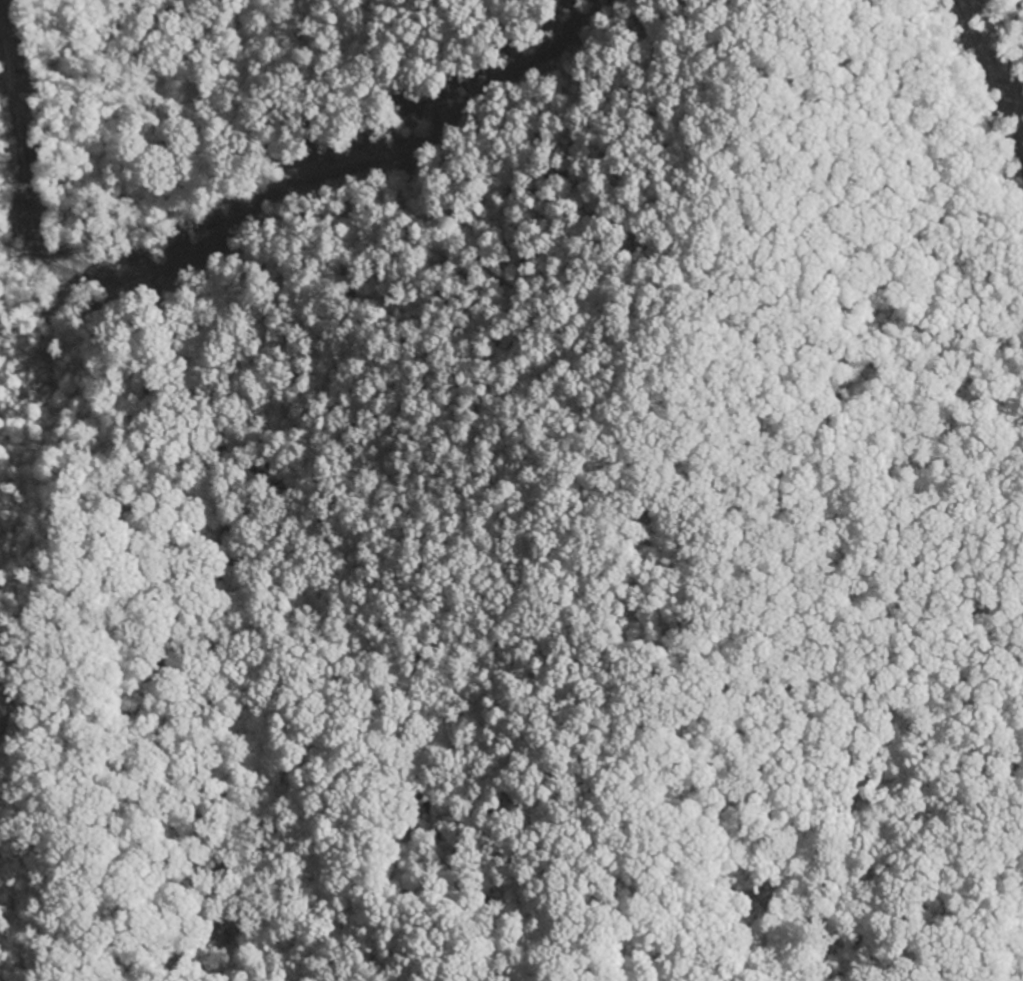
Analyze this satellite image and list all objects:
road: (941, 130)

